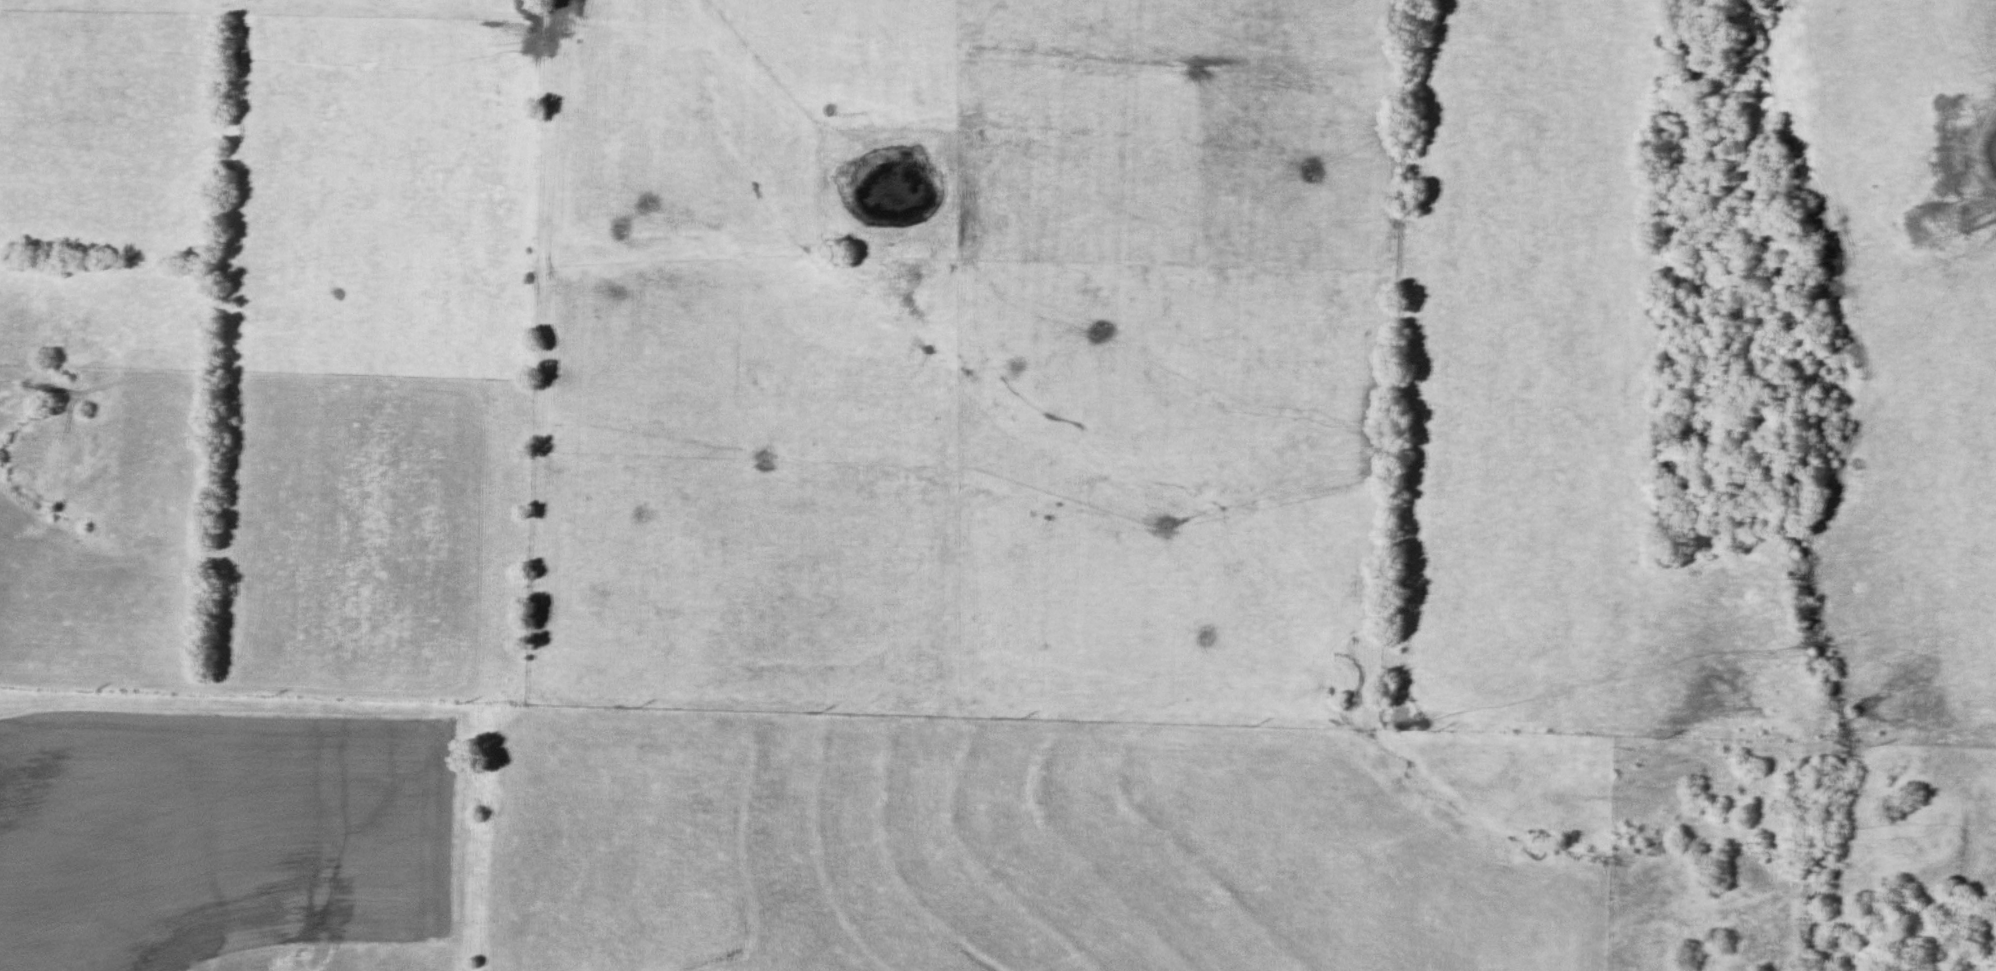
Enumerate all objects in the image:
crop: (224, 827)

